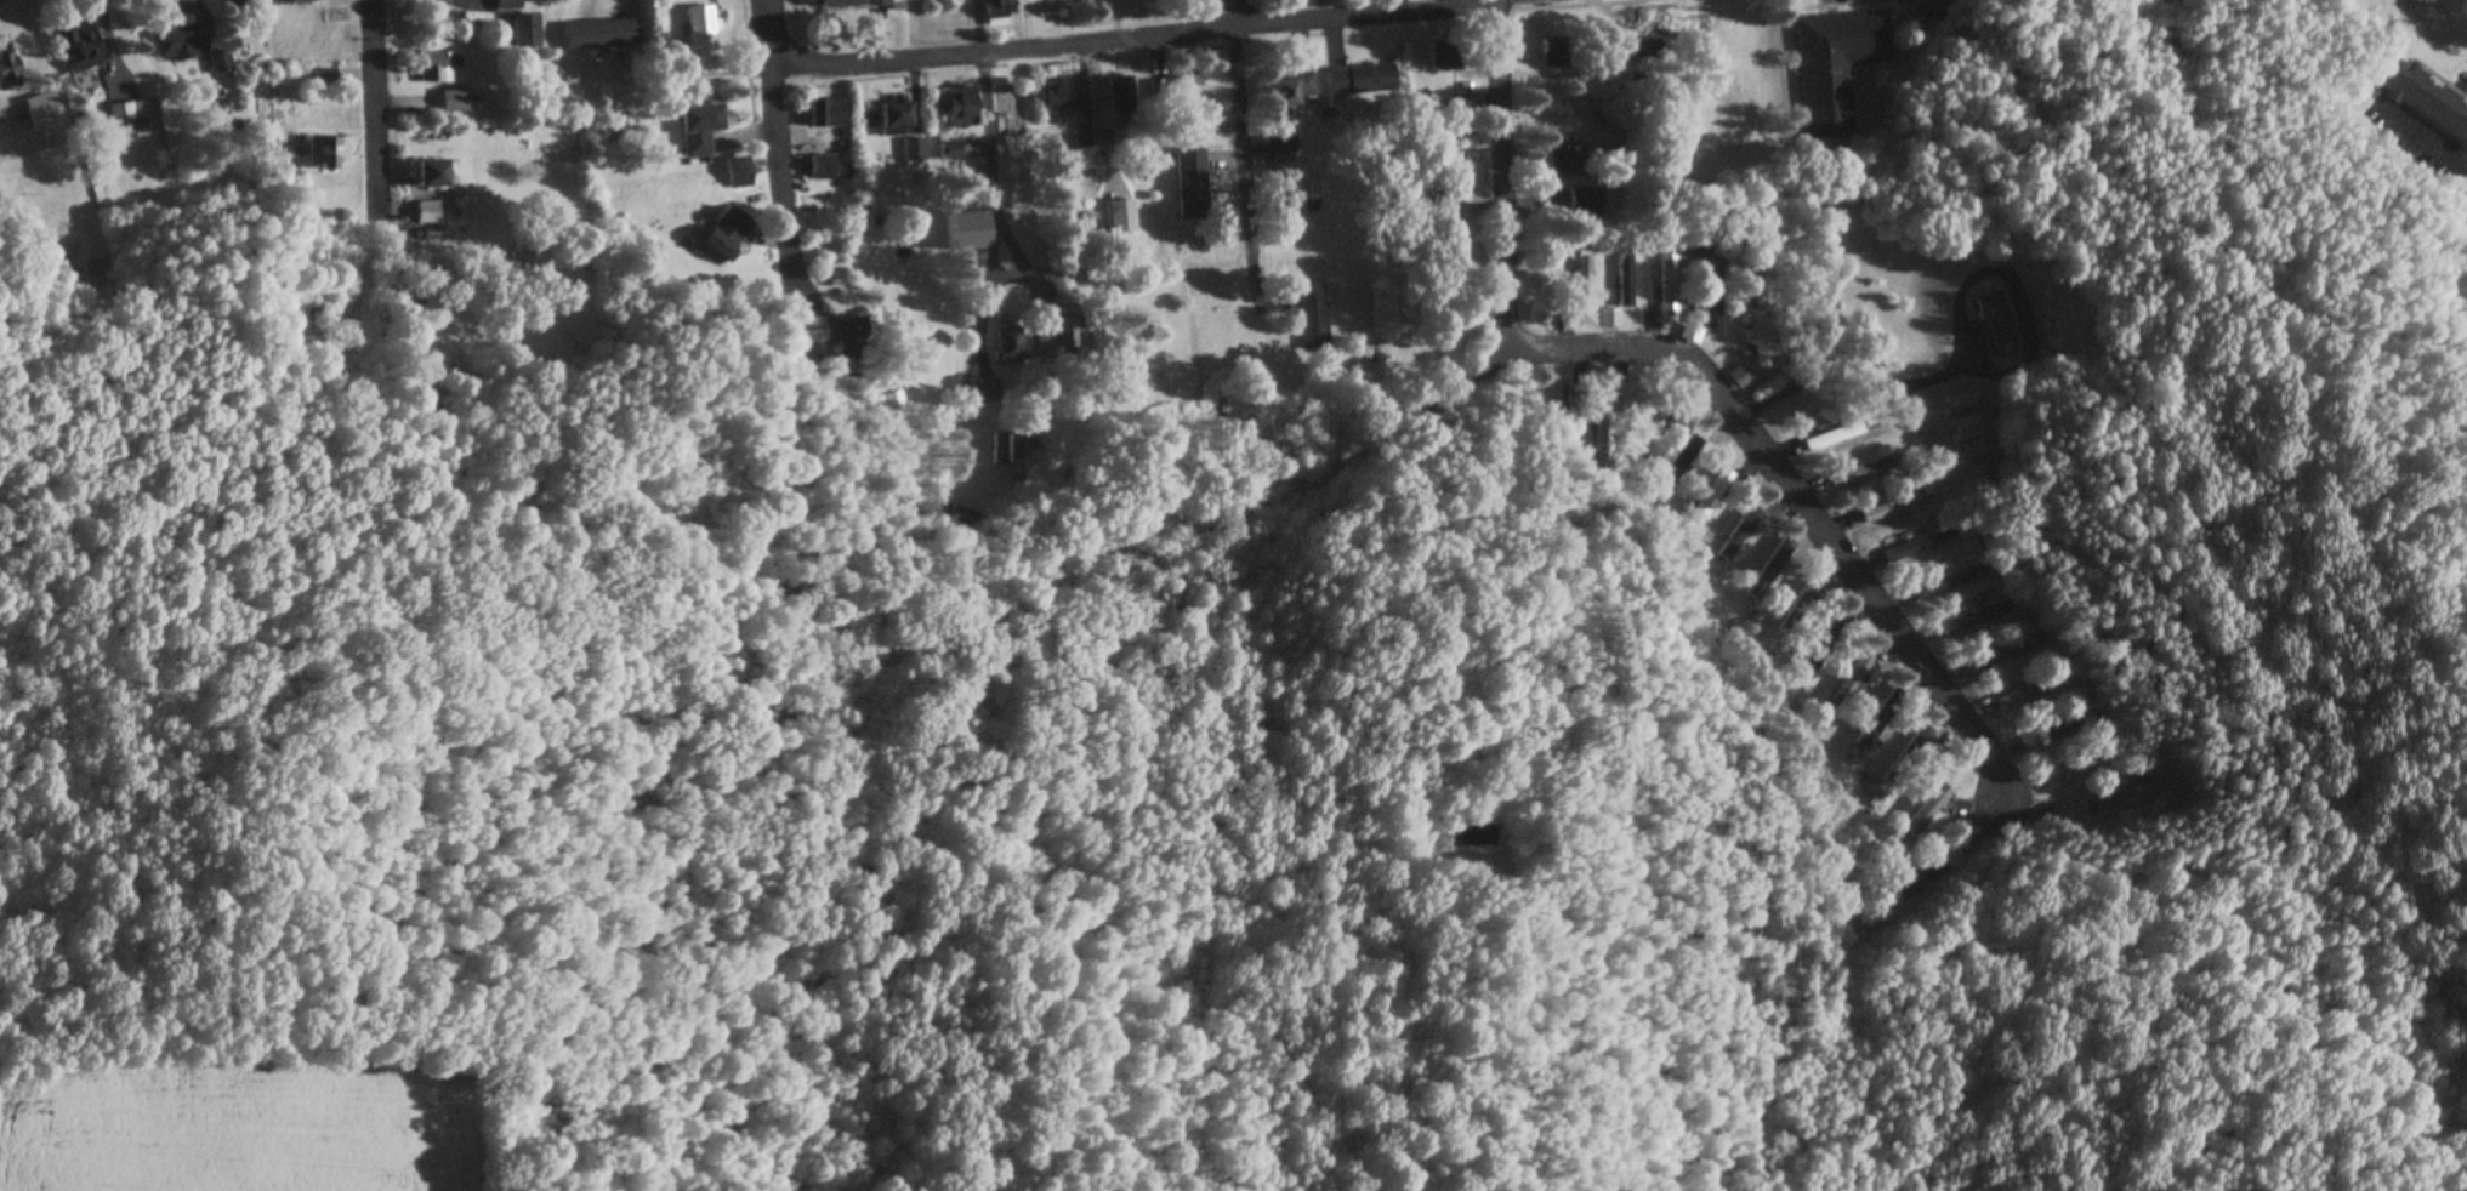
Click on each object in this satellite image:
building: (881, 2)
building: (842, 4)
building: (999, 4)
building: (512, 5)
building: (705, 29)
building: (529, 32)
building: (604, 34)
road: (1147, 38)
building: (180, 41)
building: (81, 49)
building: (1446, 53)
building: (1650, 53)
building: (1557, 55)
building: (223, 63)
building: (1837, 67)
building: (438, 68)
building: (8, 73)
building: (1363, 79)
building: (1189, 86)
building: (1296, 89)
building: (1062, 97)
building: (2425, 98)
building: (1130, 101)
building: (457, 102)
building: (966, 107)
building: (45, 112)
building: (834, 114)
building: (900, 119)
building: (130, 120)
road: (380, 129)
building: (705, 130)
road: (991, 137)
road: (785, 144)
building: (956, 150)
building: (330, 153)
building: (921, 155)
building: (1564, 161)
building: (829, 167)
road: (1250, 169)
road: (1505, 172)
building: (434, 175)
building: (1196, 184)
park: (2303, 192)
building: (1451, 194)
building: (1586, 201)
building: (430, 212)
building: (1127, 217)
building: (972, 232)
building: (729, 234)
road: (47, 243)
building: (1627, 277)
building: (1671, 279)
building: (1586, 289)
building: (1715, 295)
building: (1317, 317)
building: (1611, 318)
building: (1994, 323)
building: (823, 330)
building: (1766, 338)
building: (1070, 340)
building: (1013, 346)
building: (1745, 376)
road: (1485, 389)
building: (991, 391)
building: (897, 399)
road: (1770, 401)
building: (1658, 429)
building: (1837, 437)
road: (1415, 446)
building: (1007, 452)
building: (1684, 466)
building: (1865, 472)
building: (1715, 497)
road: (1804, 505)
building: (1892, 508)
building: (1741, 534)
building: (1921, 547)
building: (1773, 569)
building: (1952, 581)
building: (1801, 611)
building: (1977, 617)
building: (1823, 650)
building: (1994, 657)
building: (1853, 680)
building: (2027, 693)
building: (1881, 720)
building: (2063, 730)
building: (1910, 757)
building: (2073, 774)
building: (2118, 791)
building: (1931, 811)
crop: (285, 1122)

